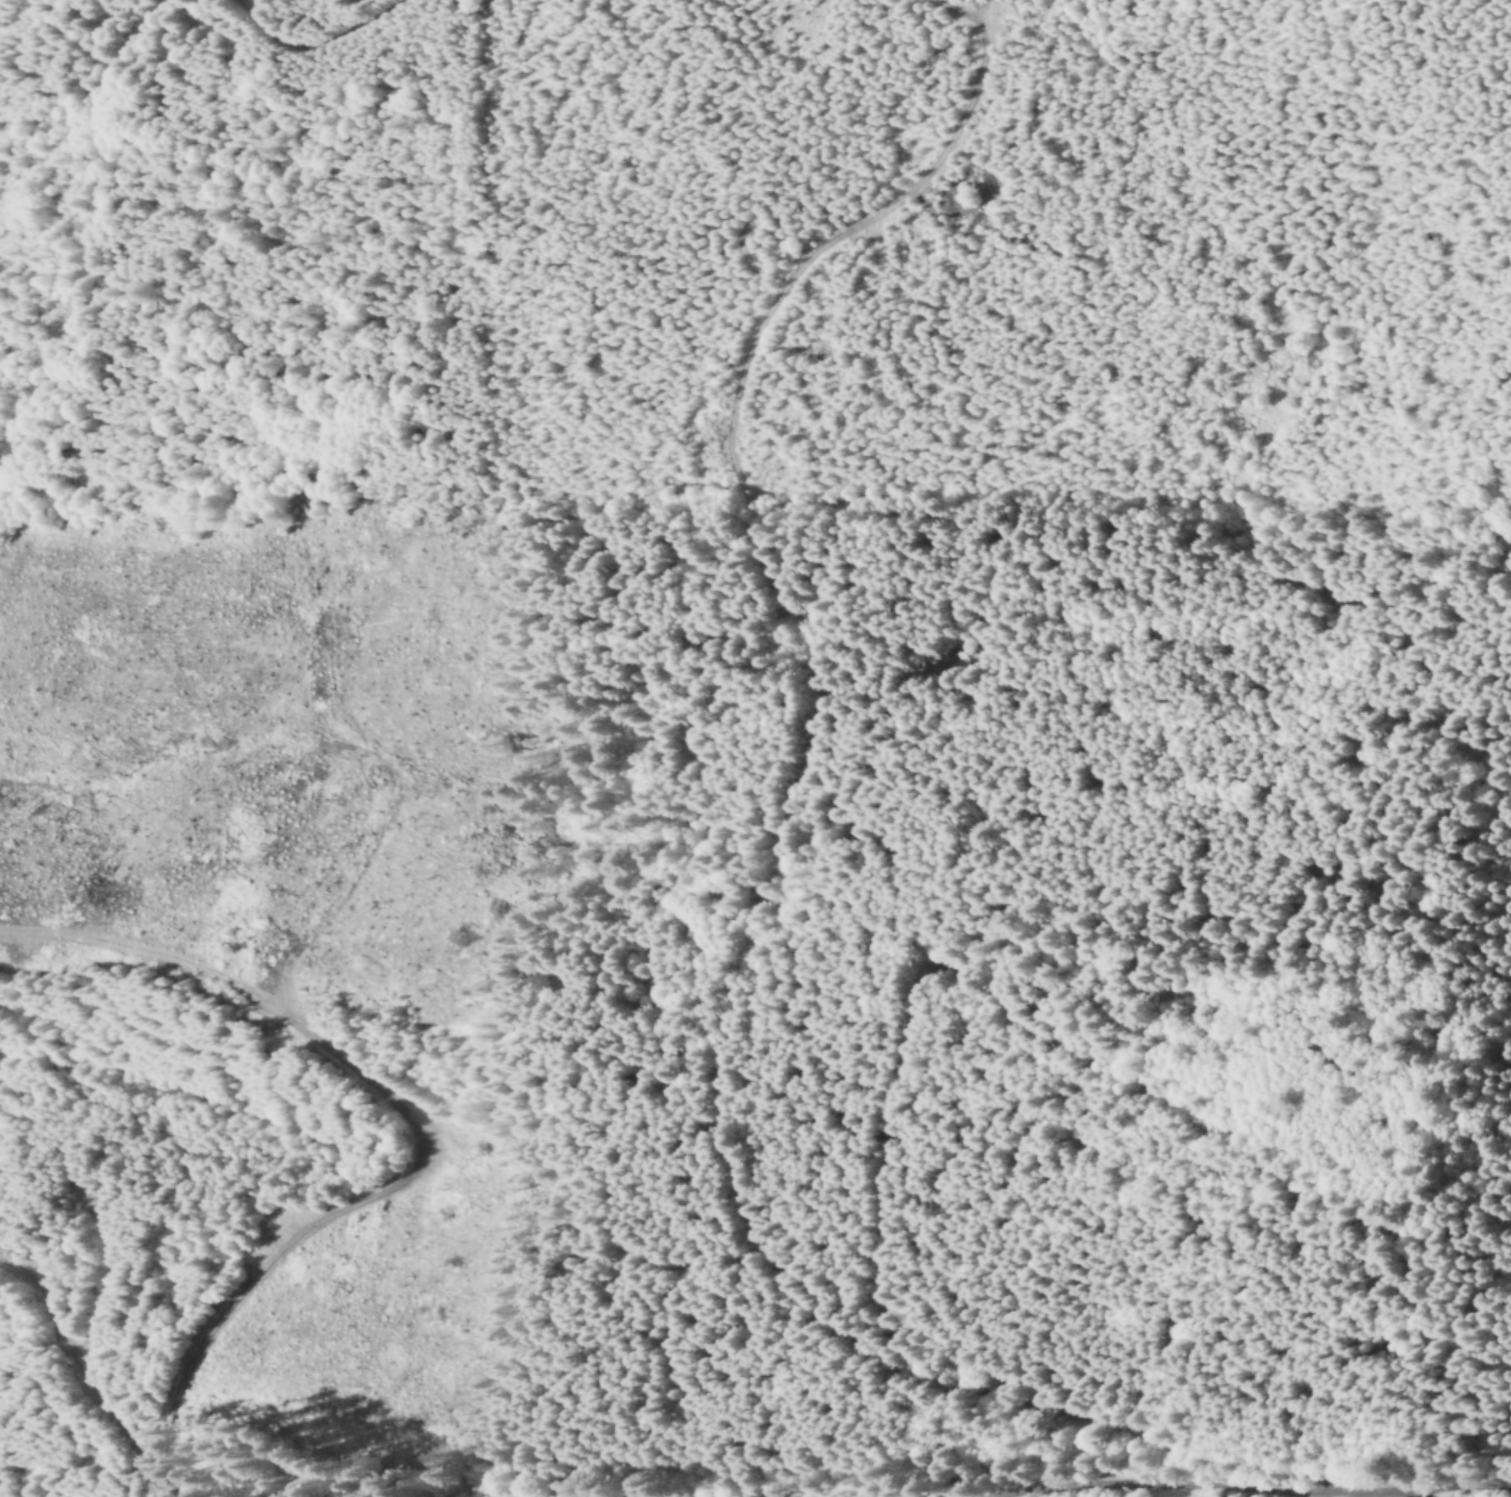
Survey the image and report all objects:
road: (1316, 1492)

